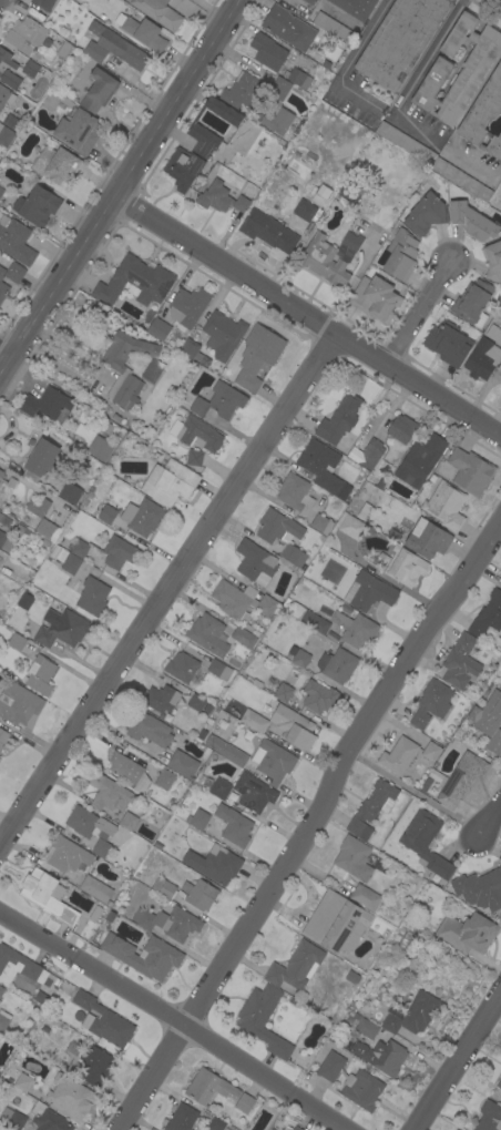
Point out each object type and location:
building: (309, 1)
building: (43, 4)
building: (356, 8)
building: (159, 12)
building: (288, 28)
building: (334, 28)
building: (144, 33)
building: (24, 34)
building: (399, 40)
building: (113, 47)
building: (64, 50)
building: (267, 51)
road: (348, 62)
building: (325, 63)
building: (30, 68)
building: (8, 70)
building: (297, 78)
building: (467, 81)
building: (279, 86)
building: (99, 90)
building: (243, 91)
building: (6, 96)
building: (483, 114)
building: (11, 123)
building: (282, 123)
building: (78, 131)
building: (6, 135)
building: (405, 142)
building: (197, 146)
building: (55, 164)
building: (461, 180)
road: (120, 189)
building: (1, 191)
building: (350, 192)
building: (319, 193)
building: (221, 198)
building: (37, 205)
building: (306, 211)
building: (426, 214)
building: (472, 221)
building: (267, 231)
building: (14, 240)
building: (351, 241)
building: (400, 255)
building: (324, 259)
building: (492, 261)
road: (223, 266)
building: (1, 272)
building: (14, 272)
building: (134, 282)
building: (3, 291)
building: (375, 298)
building: (471, 301)
building: (186, 307)
road: (416, 315)
building: (157, 328)
building: (492, 333)
building: (222, 335)
building: (448, 343)
building: (191, 350)
road: (7, 352)
building: (257, 356)
building: (482, 359)
building: (152, 371)
road: (416, 387)
building: (216, 403)
building: (45, 404)
building: (115, 417)
building: (339, 419)
road: (495, 423)
building: (105, 427)
building: (401, 428)
building: (198, 434)
building: (100, 448)
building: (367, 454)
building: (194, 458)
building: (41, 460)
building: (420, 460)
building: (323, 467)
building: (470, 471)
building: (431, 478)
building: (170, 482)
building: (379, 482)
building: (6, 488)
building: (70, 492)
building: (294, 492)
building: (444, 506)
building: (38, 507)
building: (362, 510)
building: (106, 515)
building: (143, 517)
building: (321, 523)
building: (349, 526)
building: (48, 530)
building: (282, 535)
building: (427, 539)
building: (6, 541)
building: (108, 552)
building: (381, 559)
building: (255, 562)
building: (71, 563)
building: (405, 566)
road: (165, 591)
building: (370, 592)
building: (92, 597)
building: (24, 601)
building: (241, 602)
building: (345, 609)
building: (324, 612)
building: (487, 615)
building: (314, 622)
building: (61, 628)
building: (355, 629)
building: (207, 634)
building: (243, 638)
building: (17, 642)
building: (292, 649)
building: (300, 659)
building: (460, 662)
building: (337, 665)
building: (182, 666)
building: (219, 670)
building: (40, 674)
building: (283, 692)
building: (318, 696)
building: (161, 699)
building: (196, 702)
building: (431, 703)
building: (19, 704)
building: (206, 707)
building: (254, 721)
building: (488, 721)
building: (293, 727)
building: (147, 729)
building: (2, 737)
building: (225, 750)
building: (431, 751)
building: (398, 755)
building: (274, 762)
building: (182, 764)
building: (129, 772)
building: (459, 778)
building: (163, 781)
building: (219, 788)
building: (108, 793)
building: (253, 793)
building: (371, 808)
building: (197, 819)
building: (127, 821)
road: (492, 821)
building: (89, 824)
road: (314, 824)
building: (234, 825)
building: (426, 843)
building: (101, 848)
building: (64, 855)
building: (354, 858)
building: (215, 864)
building: (163, 887)
building: (95, 888)
building: (480, 889)
building: (198, 894)
building: (47, 896)
building: (365, 897)
building: (168, 923)
building: (336, 923)
building: (467, 933)
building: (143, 956)
building: (18, 966)
building: (295, 967)
building: (1, 990)
building: (411, 1014)
building: (263, 1019)
building: (3, 1020)
building: (103, 1021)
road: (172, 1021)
building: (364, 1025)
building: (387, 1057)
road: (458, 1061)
building: (94, 1065)
building: (17, 1079)
building: (351, 1081)
building: (499, 1082)
building: (208, 1087)
building: (70, 1096)
building: (244, 1102)
building: (489, 1117)
building: (12, 1118)
building: (182, 1118)
building: (48, 1119)
building: (218, 1124)
building: (296, 1128)

